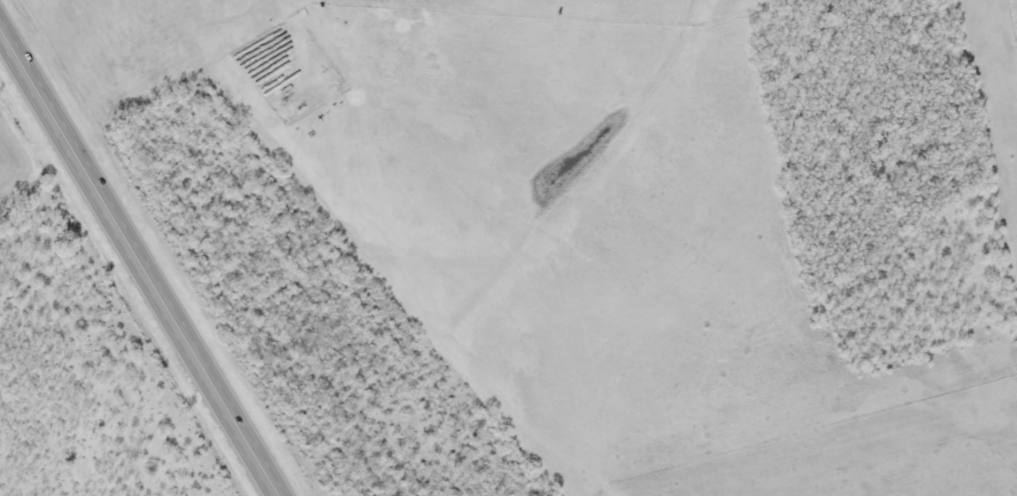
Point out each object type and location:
road: (139, 261)

